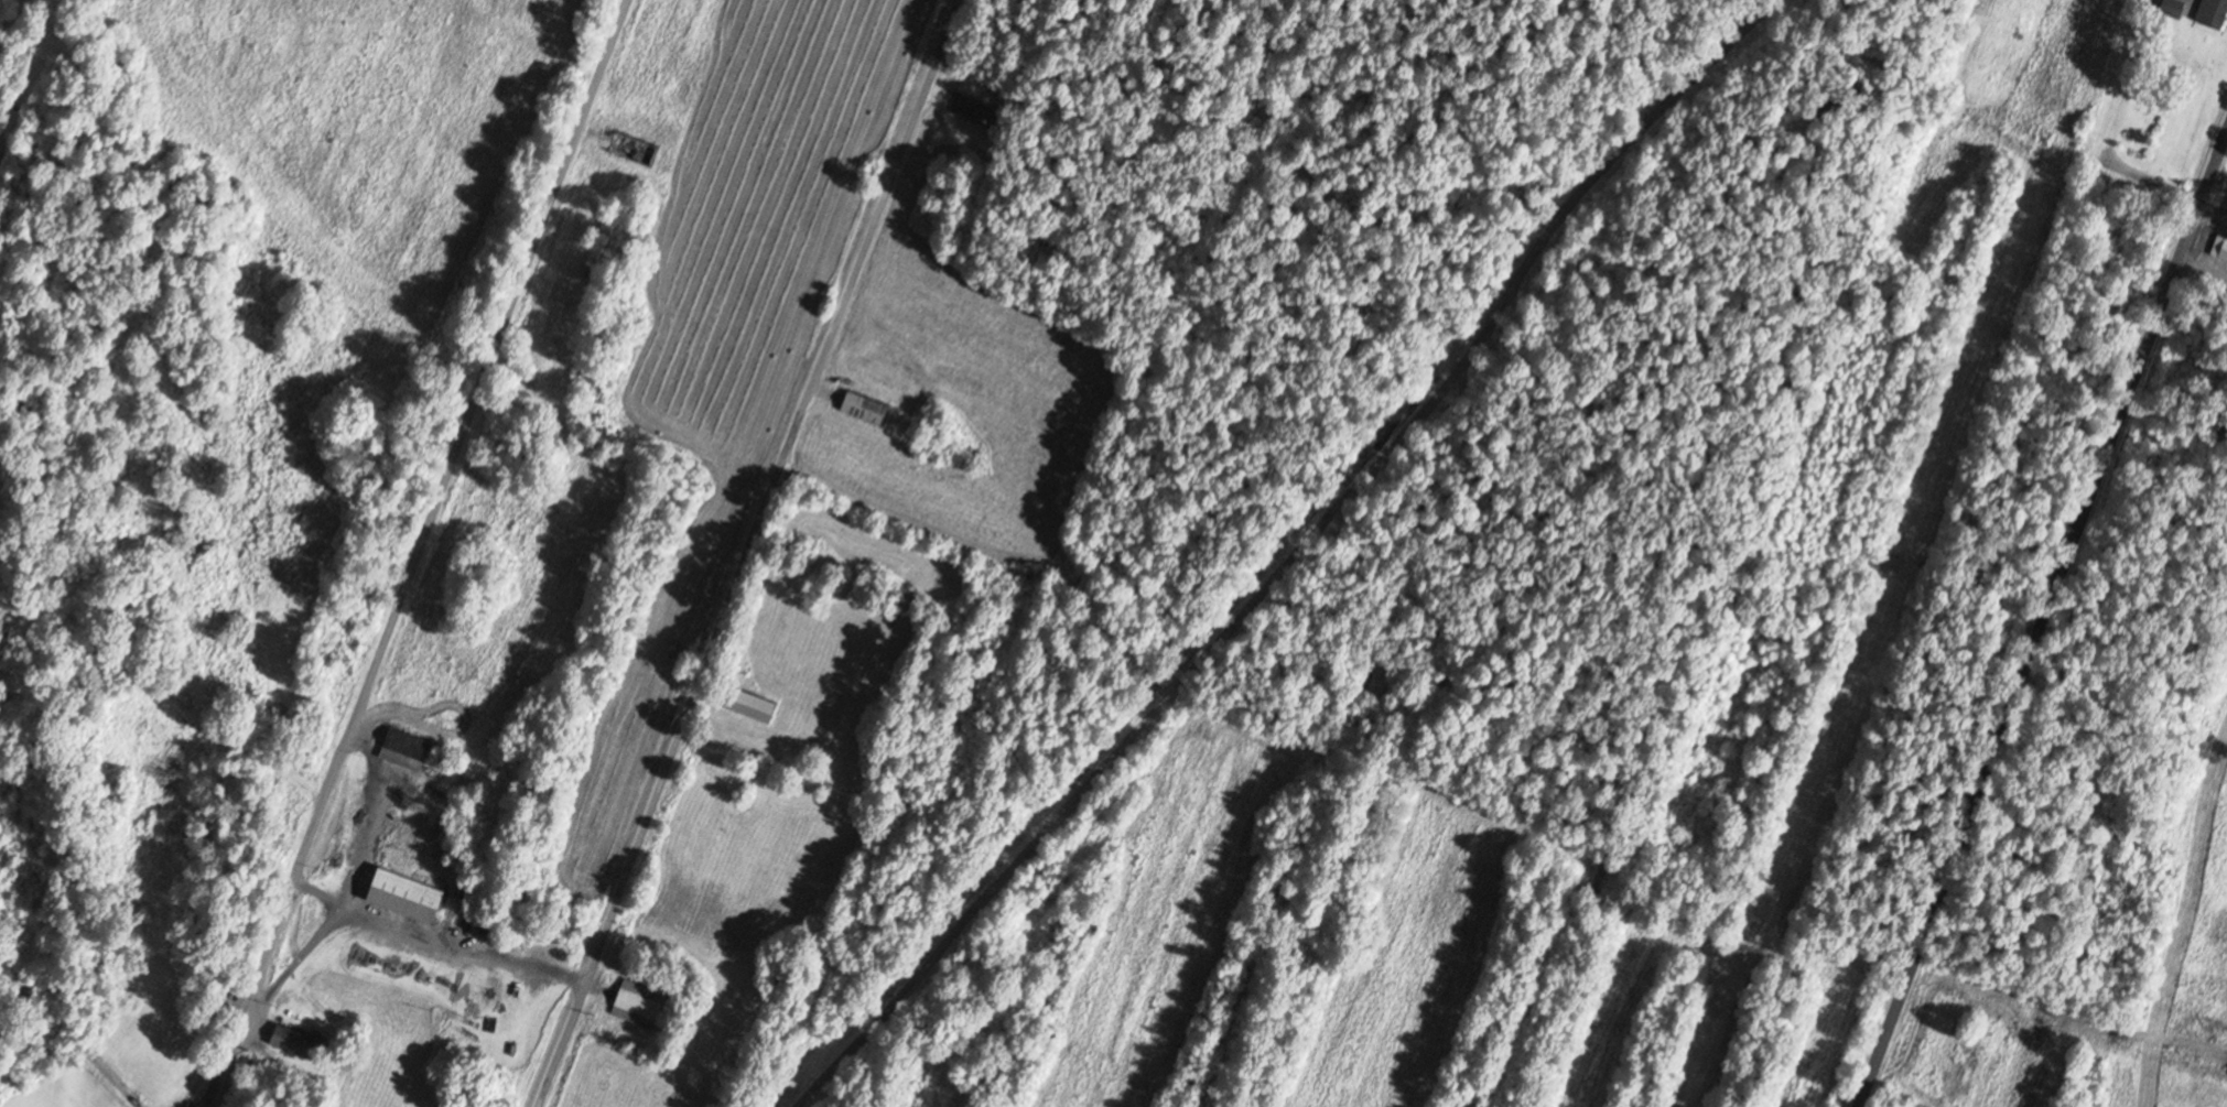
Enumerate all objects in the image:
building: (2209, 13)
road: (1661, 112)
building: (628, 150)
building: (2218, 249)
building: (861, 409)
road: (1341, 529)
road: (420, 553)
road: (747, 553)
road: (1776, 553)
road: (1051, 555)
road: (2043, 622)
building: (747, 706)
building: (400, 749)
road: (1073, 800)
building: (398, 894)
building: (639, 1005)
road: (68, 1034)
building: (290, 1041)

